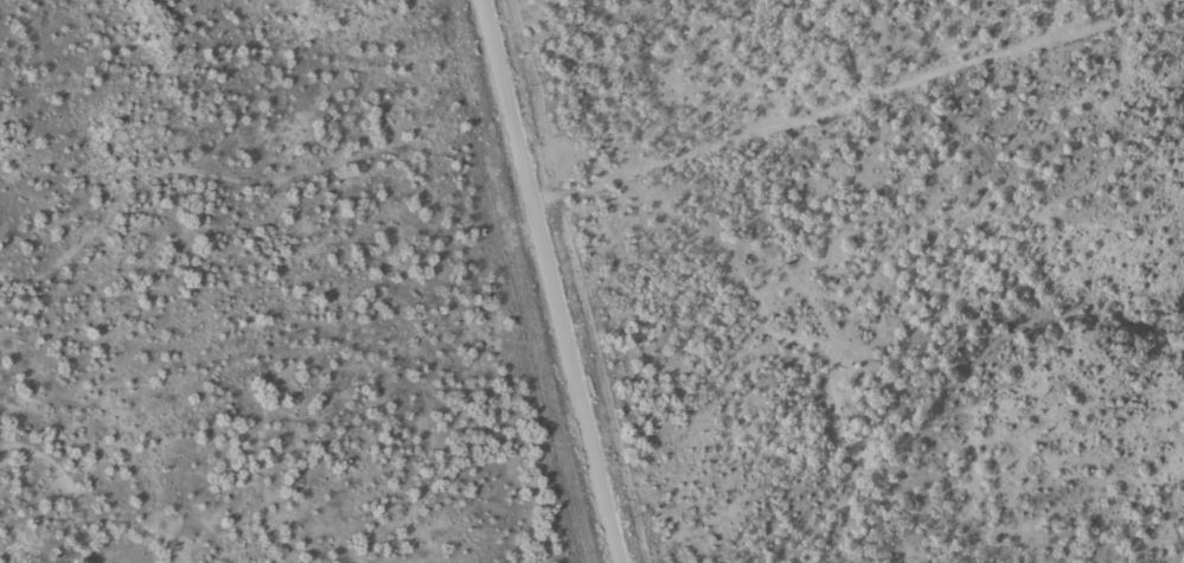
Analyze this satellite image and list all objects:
road: (491, 105)
road: (532, 269)

